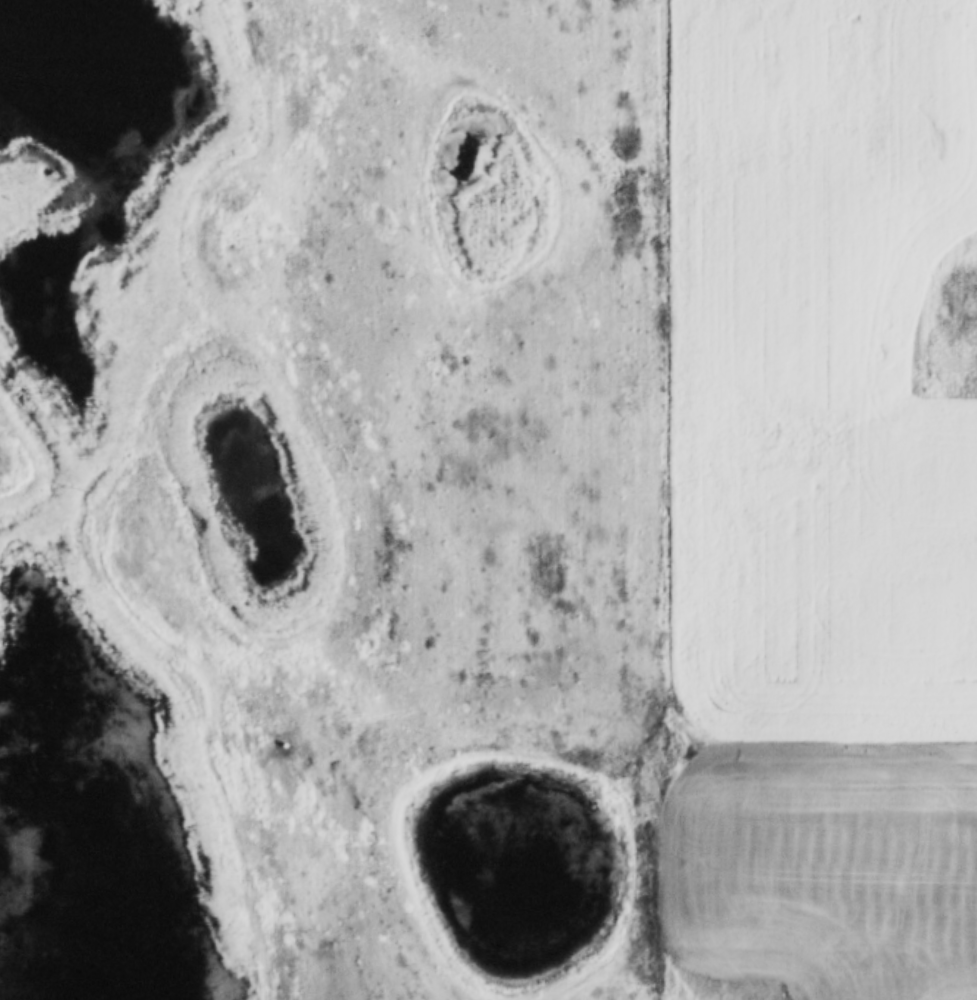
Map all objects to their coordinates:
road: (658, 500)

